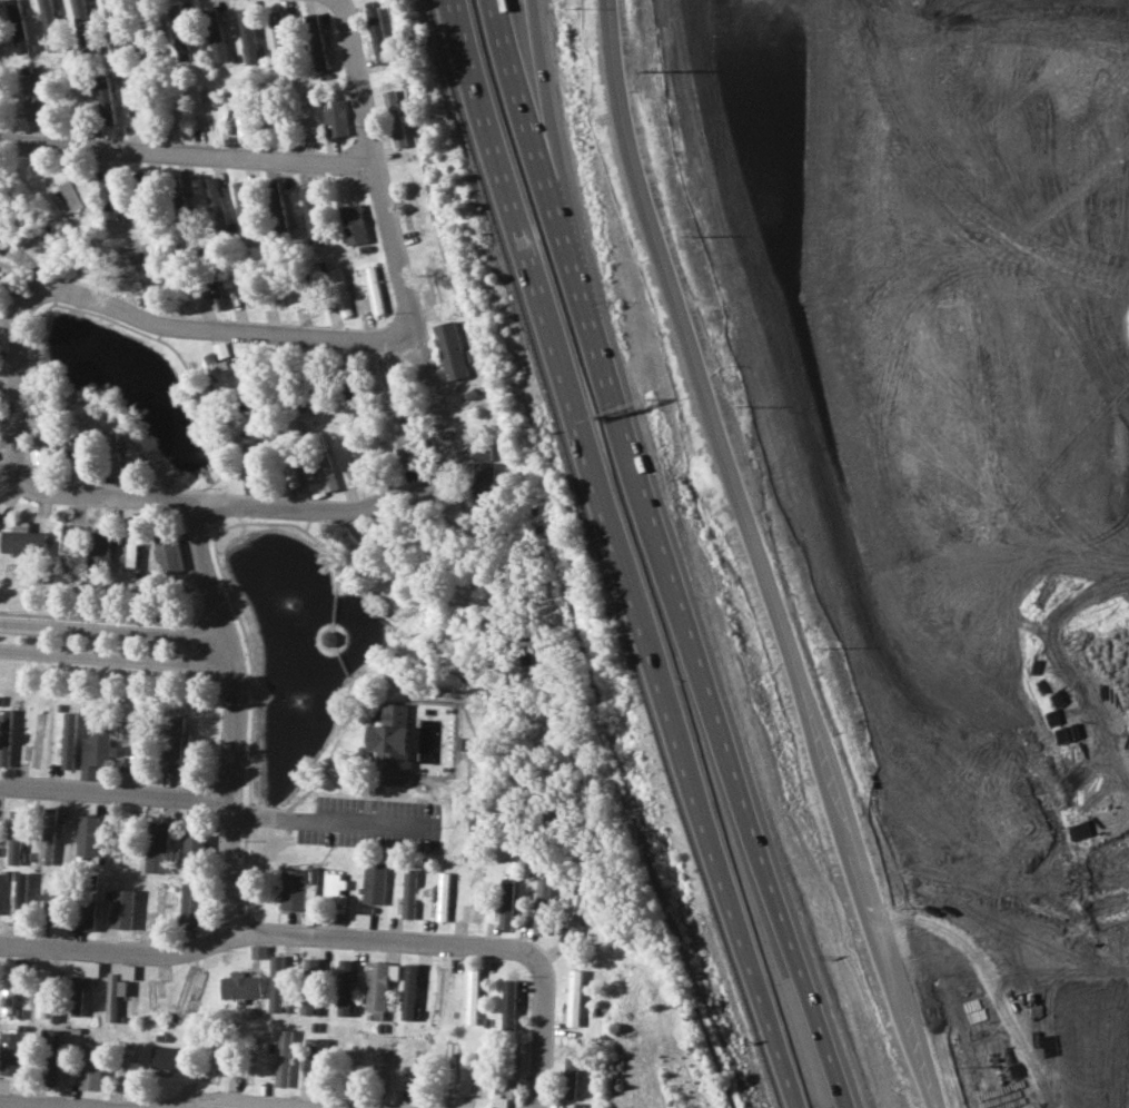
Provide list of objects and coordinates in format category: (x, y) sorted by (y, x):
building: (82, 23)
building: (49, 24)
building: (18, 27)
building: (180, 32)
building: (214, 32)
building: (278, 32)
building: (247, 34)
building: (316, 41)
building: (36, 95)
building: (138, 95)
building: (105, 96)
building: (239, 110)
building: (335, 117)
building: (394, 118)
building: (21, 122)
road: (877, 141)
road: (187, 150)
road: (524, 154)
road: (543, 154)
building: (72, 195)
building: (111, 196)
building: (215, 205)
building: (244, 206)
road: (503, 207)
building: (181, 209)
building: (276, 209)
building: (310, 212)
building: (354, 222)
road: (398, 253)
building: (145, 266)
road: (39, 290)
building: (340, 291)
building: (370, 293)
building: (215, 294)
building: (221, 349)
building: (450, 349)
building: (217, 370)
building: (76, 447)
building: (40, 448)
building: (408, 452)
building: (481, 452)
building: (254, 453)
building: (115, 454)
building: (327, 474)
building: (293, 475)
building: (483, 486)
building: (317, 488)
road: (313, 508)
road: (610, 537)
building: (22, 541)
building: (131, 544)
building: (353, 545)
building: (167, 551)
road: (751, 556)
road: (112, 630)
road: (683, 640)
road: (116, 656)
road: (235, 705)
building: (4, 736)
building: (69, 740)
building: (172, 743)
building: (393, 743)
building: (98, 745)
road: (115, 793)
road: (327, 817)
road: (700, 821)
building: (90, 834)
building: (16, 835)
building: (47, 835)
building: (157, 847)
building: (192, 852)
building: (374, 883)
building: (335, 887)
building: (21, 890)
building: (409, 893)
building: (443, 896)
building: (53, 899)
building: (506, 902)
building: (192, 903)
building: (123, 908)
building: (89, 913)
building: (575, 914)
road: (1007, 937)
road: (382, 940)
road: (127, 956)
building: (311, 967)
building: (91, 968)
building: (127, 971)
building: (278, 983)
building: (239, 986)
building: (344, 987)
building: (378, 988)
building: (8, 989)
building: (439, 989)
building: (42, 991)
building: (409, 991)
building: (76, 993)
building: (190, 993)
building: (115, 995)
building: (472, 996)
building: (573, 997)
building: (307, 1001)
road: (546, 1026)
road: (815, 1040)
road: (771, 1043)
building: (11, 1052)
building: (52, 1056)
building: (167, 1058)
building: (284, 1058)
building: (315, 1059)
building: (91, 1066)
building: (513, 1071)
building: (570, 1077)
road: (240, 1102)
building: (498, 1102)
road: (39, 1105)

